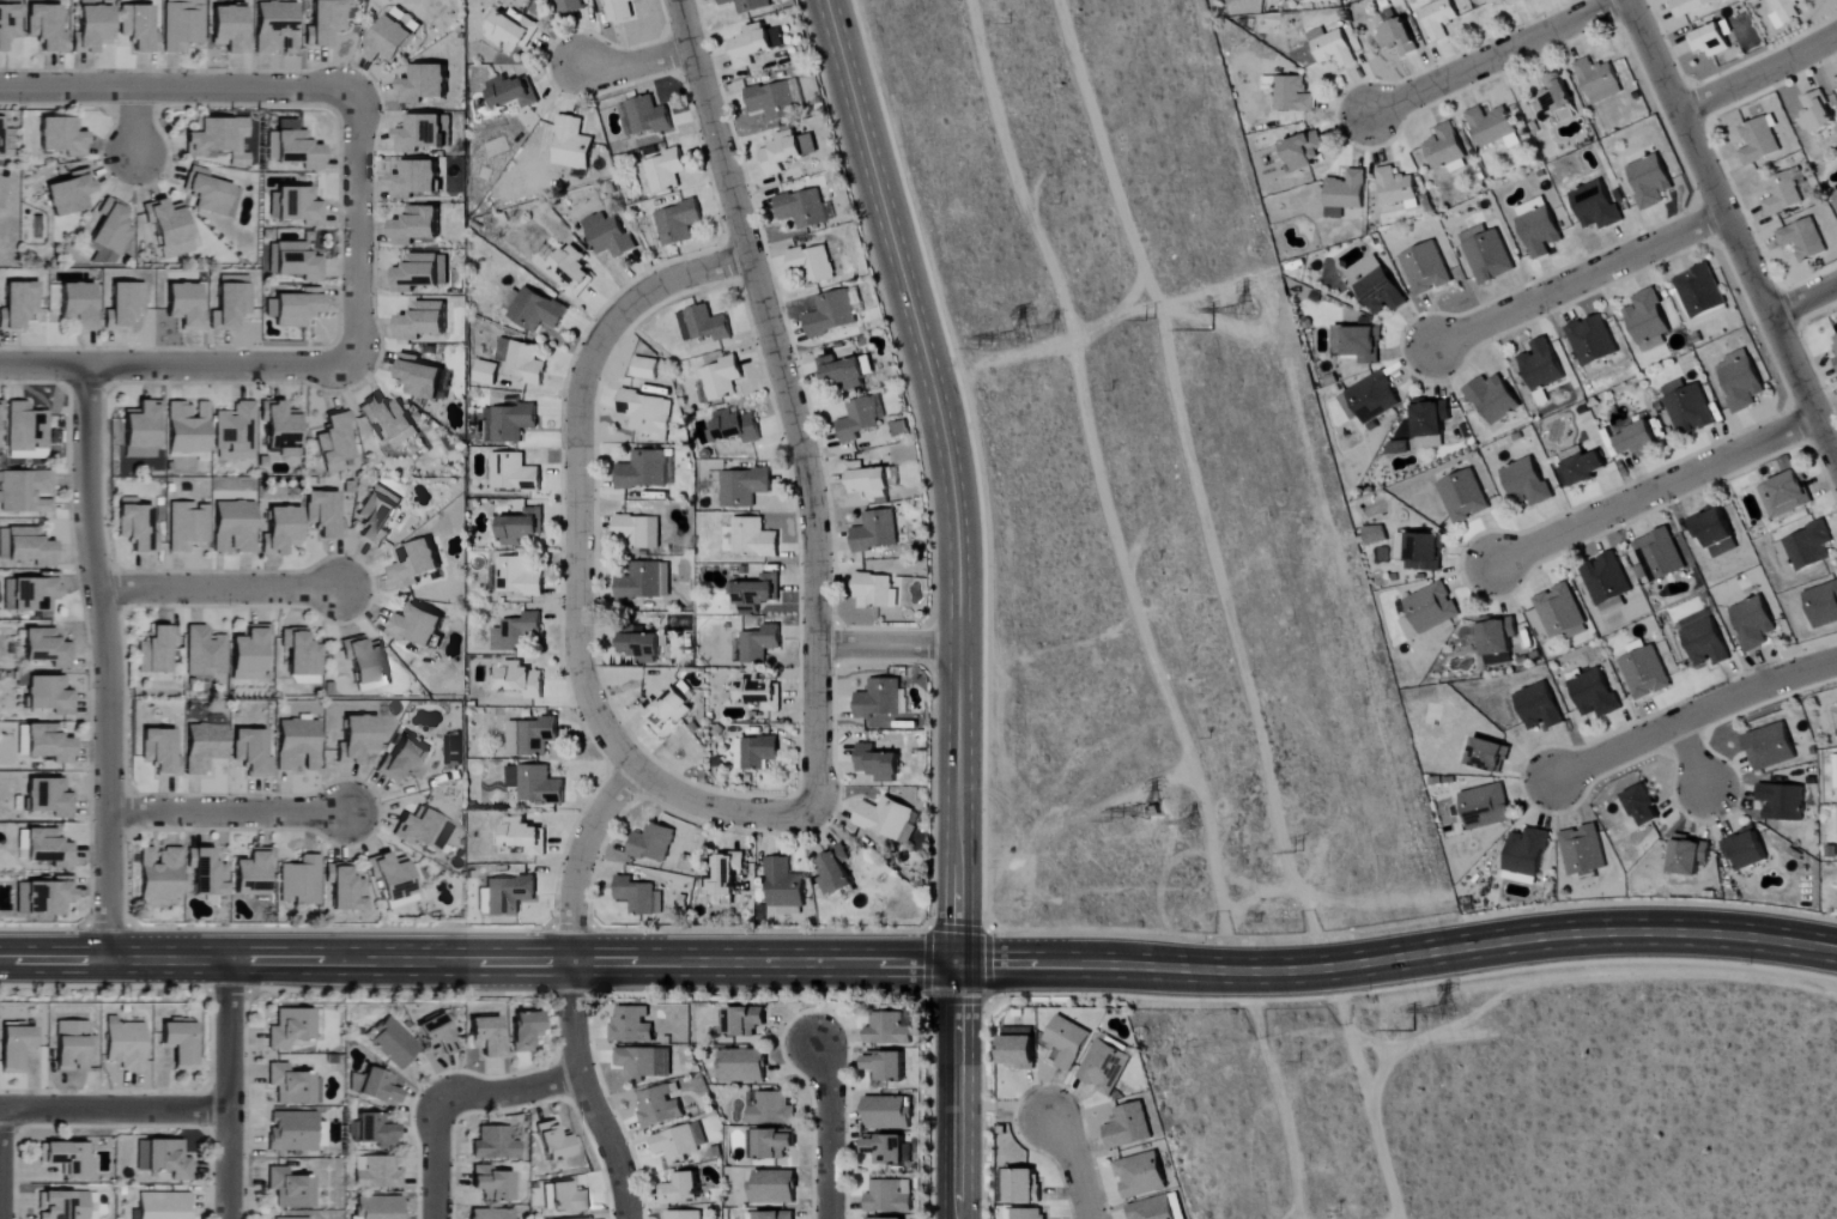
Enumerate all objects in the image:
building: (544, 0)
building: (1303, 0)
building: (1515, 4)
building: (748, 5)
building: (570, 6)
building: (1691, 6)
building: (622, 11)
building: (1787, 12)
building: (1442, 19)
building: (408, 20)
building: (325, 23)
building: (8, 25)
building: (182, 26)
building: (46, 28)
building: (138, 28)
building: (230, 29)
building: (277, 29)
building: (92, 30)
building: (514, 30)
building: (1399, 35)
building: (1712, 41)
building: (390, 43)
building: (756, 46)
building: (1333, 47)
road: (1492, 56)
road: (635, 63)
road: (1758, 74)
building: (1600, 80)
building: (426, 84)
road: (177, 85)
building: (514, 93)
building: (1293, 95)
building: (1557, 98)
building: (774, 102)
building: (1818, 114)
building: (644, 117)
road: (133, 121)
building: (1491, 126)
building: (428, 134)
building: (62, 137)
building: (1, 138)
building: (219, 140)
building: (1759, 141)
building: (572, 145)
building: (297, 147)
building: (787, 151)
building: (1305, 152)
building: (1447, 152)
building: (666, 171)
building: (418, 180)
building: (1653, 182)
building: (1396, 187)
building: (2, 190)
building: (1836, 193)
building: (71, 194)
building: (211, 194)
building: (1346, 194)
building: (1782, 195)
building: (1596, 206)
building: (293, 207)
building: (805, 208)
road: (351, 223)
building: (678, 224)
building: (419, 226)
building: (170, 228)
building: (1540, 228)
road: (1732, 230)
building: (110, 234)
building: (610, 236)
building: (1805, 241)
building: (1487, 255)
building: (293, 262)
building: (813, 263)
building: (1426, 269)
building: (575, 272)
building: (422, 274)
road: (1577, 279)
building: (1377, 286)
building: (1702, 292)
road: (1802, 299)
building: (17, 303)
building: (122, 304)
building: (77, 305)
building: (229, 305)
building: (183, 307)
power tower: (1237, 307)
building: (295, 308)
building: (534, 310)
building: (832, 315)
building: (1650, 320)
power tower: (1146, 322)
building: (425, 323)
building: (704, 325)
power tower: (1059, 326)
power tower: (1209, 335)
power tower: (1033, 339)
power tower: (1002, 341)
building: (1593, 341)
building: (1835, 342)
building: (1359, 344)
building: (1836, 360)
building: (522, 362)
road: (174, 364)
building: (647, 369)
building: (1542, 369)
building: (486, 374)
building: (843, 374)
building: (420, 378)
building: (722, 378)
building: (1742, 381)
road: (787, 399)
building: (1493, 399)
building: (1371, 400)
building: (1689, 408)
building: (1, 410)
building: (645, 414)
building: (859, 422)
building: (508, 423)
building: (1432, 423)
building: (141, 424)
building: (394, 424)
building: (25, 425)
building: (186, 426)
building: (735, 427)
building: (281, 429)
building: (899, 430)
building: (235, 432)
building: (1524, 437)
building: (1642, 441)
building: (335, 443)
building: (1588, 469)
building: (645, 471)
building: (514, 473)
building: (868, 480)
building: (1528, 483)
building: (744, 487)
building: (23, 489)
road: (1655, 491)
building: (1787, 496)
building: (1466, 497)
building: (325, 515)
building: (378, 515)
building: (137, 527)
building: (187, 527)
building: (234, 528)
building: (522, 528)
building: (281, 532)
building: (638, 532)
building: (877, 532)
building: (1716, 532)
building: (1376, 535)
building: (752, 539)
building: (25, 544)
building: (1807, 550)
building: (1424, 553)
building: (1660, 557)
building: (417, 564)
road: (576, 565)
building: (519, 578)
building: (666, 580)
building: (1608, 582)
building: (641, 583)
road: (218, 588)
building: (30, 592)
building: (874, 592)
building: (757, 593)
road: (958, 601)
building: (1823, 605)
building: (1433, 608)
building: (1558, 614)
building: (1754, 624)
building: (417, 626)
building: (1409, 627)
building: (517, 632)
building: (1499, 641)
building: (1705, 641)
road: (886, 643)
building: (760, 644)
building: (641, 645)
building: (44, 647)
building: (157, 651)
building: (205, 653)
building: (302, 654)
building: (251, 655)
road: (105, 659)
building: (366, 663)
building: (1647, 674)
building: (523, 680)
building: (307, 681)
building: (759, 692)
building: (48, 693)
building: (1595, 695)
building: (881, 699)
building: (1540, 708)
building: (667, 711)
road: (1691, 717)
building: (878, 723)
building: (532, 738)
building: (43, 740)
building: (358, 741)
building: (298, 746)
building: (1771, 747)
building: (204, 748)
building: (159, 752)
building: (251, 753)
building: (754, 753)
building: (1490, 757)
road: (1692, 758)
building: (406, 760)
building: (879, 764)
building: (1835, 774)
building: (535, 784)
building: (48, 796)
building: (1783, 802)
building: (1487, 807)
building: (1645, 807)
road: (226, 811)
power tower: (1168, 814)
building: (886, 818)
power tower: (1196, 818)
power tower: (1134, 819)
building: (423, 829)
building: (525, 836)
power tower: (1301, 837)
building: (653, 843)
building: (43, 845)
building: (1747, 850)
building: (1526, 857)
building: (1691, 859)
building: (207, 872)
building: (160, 873)
building: (254, 873)
building: (726, 873)
building: (836, 873)
building: (392, 878)
building: (301, 881)
building: (784, 885)
building: (345, 887)
building: (43, 894)
building: (509, 894)
building: (637, 894)
road: (920, 963)
road: (571, 989)
power tower: (1443, 1015)
building: (746, 1020)
building: (633, 1025)
building: (291, 1029)
building: (526, 1030)
building: (890, 1030)
building: (438, 1035)
building: (487, 1037)
building: (393, 1042)
building: (1071, 1042)
building: (126, 1044)
building: (182, 1044)
building: (72, 1045)
building: (16, 1047)
building: (1020, 1048)
building: (645, 1062)
building: (889, 1065)
building: (742, 1066)
building: (1108, 1067)
building: (291, 1085)
road: (228, 1087)
building: (380, 1087)
road: (510, 1091)
building: (660, 1108)
building: (772, 1109)
road: (113, 1110)
building: (887, 1114)
building: (1130, 1126)
building: (372, 1130)
building: (292, 1132)
road: (827, 1132)
building: (554, 1141)
building: (681, 1142)
building: (496, 1144)
building: (776, 1144)
building: (889, 1148)
building: (67, 1157)
building: (163, 1158)
road: (436, 1162)
road: (1072, 1165)
building: (376, 1172)
building: (1142, 1175)
building: (493, 1183)
building: (1025, 1185)
building: (774, 1188)
building: (290, 1189)
building: (684, 1189)
building: (569, 1197)
building: (889, 1197)
building: (63, 1205)
building: (164, 1206)
building: (378, 1207)
building: (1156, 1208)
building: (1030, 1213)
building: (492, 1214)
building: (684, 1214)
building: (776, 1215)
building: (285, 1218)
building: (590, 1218)
building: (878, 1218)

